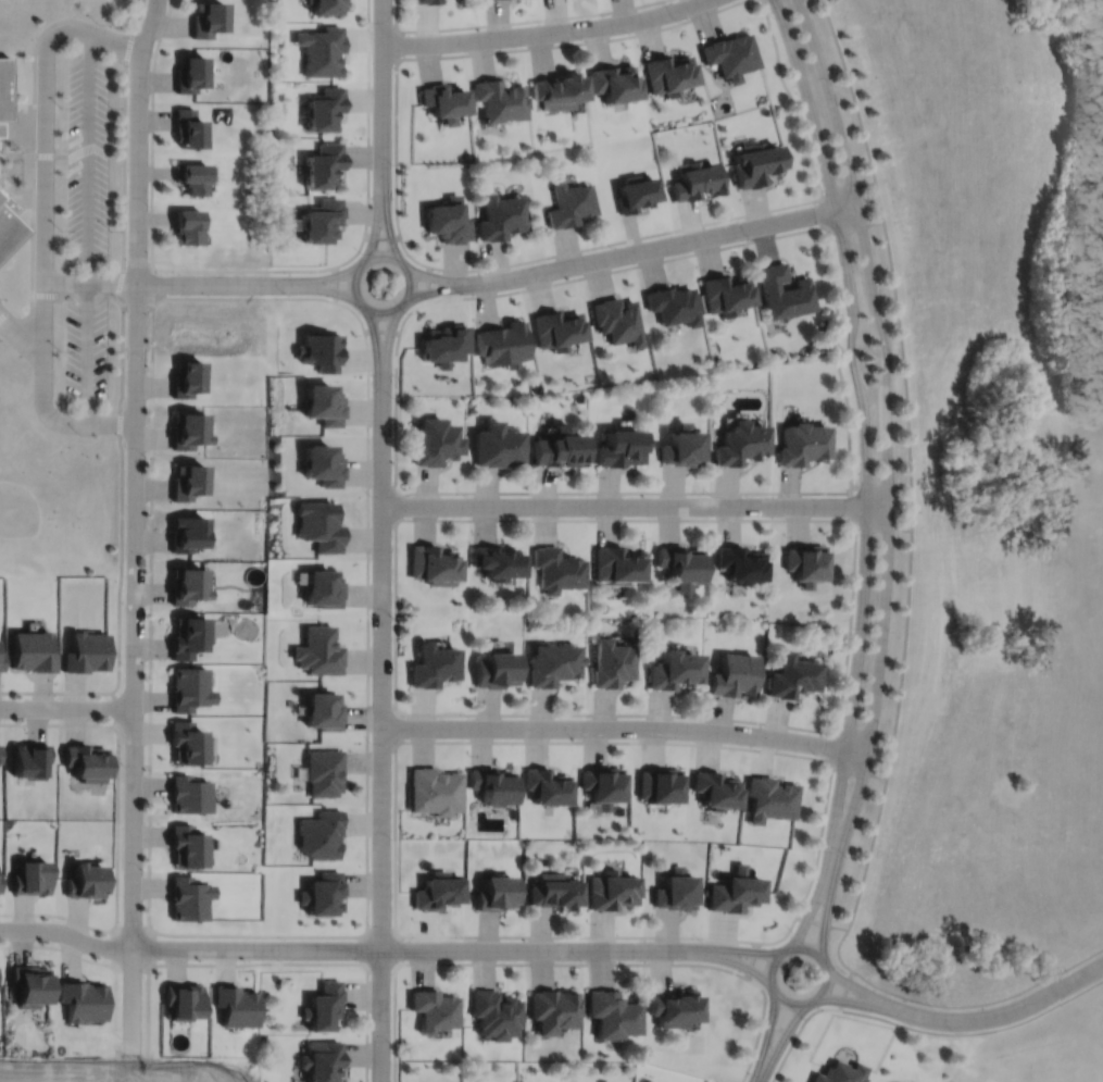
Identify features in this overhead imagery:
building: (497, 0)
building: (427, 1)
building: (327, 4)
road: (622, 9)
street lamp: (774, 16)
building: (208, 17)
road: (137, 18)
street lamp: (372, 21)
street lamp: (679, 21)
street lamp: (98, 23)
road: (474, 26)
street lamp: (480, 28)
road: (547, 33)
road: (41, 34)
road: (369, 36)
street lamp: (582, 39)
road: (397, 42)
road: (117, 45)
building: (322, 48)
road: (467, 53)
building: (730, 53)
building: (190, 72)
building: (669, 72)
building: (616, 80)
road: (383, 83)
street lamp: (835, 85)
building: (4, 87)
building: (560, 88)
street lamp: (799, 95)
building: (443, 98)
building: (500, 98)
road: (793, 99)
street lamp: (150, 101)
street lamp: (62, 105)
street lamp: (111, 107)
building: (325, 107)
building: (1, 126)
building: (187, 127)
road: (17, 129)
road: (45, 135)
road: (33, 142)
road: (60, 154)
road: (16, 156)
road: (87, 159)
parking lot: (87, 161)
building: (756, 162)
building: (324, 163)
street lamp: (392, 164)
street lamp: (855, 165)
road: (124, 166)
building: (191, 175)
road: (33, 176)
building: (695, 179)
road: (848, 187)
building: (636, 191)
road: (13, 195)
building: (572, 203)
street lamp: (148, 206)
road: (377, 213)
road: (387, 214)
road: (820, 214)
building: (501, 215)
building: (323, 217)
building: (449, 219)
building: (8, 222)
road: (151, 224)
building: (187, 225)
road: (856, 227)
street lamp: (60, 229)
street lamp: (111, 231)
road: (829, 232)
street lamp: (752, 239)
street lamp: (835, 240)
road: (678, 244)
road: (602, 245)
road: (33, 246)
street lamp: (611, 246)
street lamp: (362, 252)
street lamp: (404, 253)
road: (402, 264)
street lamp: (176, 273)
road: (315, 277)
road: (450, 278)
road: (90, 282)
road: (204, 283)
road: (429, 284)
road: (336, 285)
road: (315, 288)
road: (453, 289)
building: (784, 291)
road: (77, 294)
street lamp: (464, 294)
building: (727, 294)
street lamp: (285, 295)
building: (673, 304)
road: (3, 308)
street lamp: (406, 311)
road: (43, 312)
street lamp: (361, 314)
road: (3, 315)
road: (27, 315)
building: (618, 321)
building: (560, 328)
road: (381, 329)
road: (18, 335)
building: (447, 344)
building: (504, 344)
road: (376, 347)
road: (387, 347)
street lamp: (59, 349)
street lamp: (110, 350)
road: (87, 351)
parking lot: (86, 352)
street lamp: (893, 353)
street lamp: (847, 358)
street lamp: (148, 360)
road: (839, 364)
building: (187, 377)
street lamp: (392, 397)
road: (43, 398)
building: (324, 403)
road: (396, 415)
road: (111, 422)
building: (188, 430)
street lamp: (79, 433)
building: (437, 441)
building: (741, 444)
building: (803, 444)
building: (499, 445)
building: (681, 447)
building: (559, 448)
building: (619, 448)
street lamp: (147, 457)
building: (324, 464)
street lamp: (895, 468)
road: (866, 473)
road: (888, 475)
building: (187, 481)
road: (880, 487)
road: (911, 487)
park: (982, 493)
street lamp: (372, 495)
street lamp: (466, 495)
street lamp: (712, 496)
park: (41, 505)
road: (396, 506)
road: (635, 506)
road: (850, 506)
street lamp: (589, 517)
road: (396, 519)
road: (135, 525)
building: (321, 525)
road: (883, 526)
building: (188, 533)
street lamp: (858, 534)
road: (121, 550)
street lamp: (147, 560)
building: (499, 562)
building: (740, 564)
building: (807, 564)
building: (434, 565)
building: (616, 567)
building: (680, 567)
building: (557, 570)
building: (187, 586)
building: (324, 589)
street lamp: (392, 618)
road: (851, 625)
street lamp: (854, 629)
street lamp: (890, 632)
building: (188, 637)
building: (33, 651)
building: (319, 651)
building: (85, 654)
building: (1, 661)
street lamp: (146, 663)
building: (612, 664)
building: (552, 666)
building: (435, 667)
building: (496, 670)
building: (673, 671)
building: (734, 677)
building: (792, 677)
building: (189, 689)
street lamp: (57, 696)
road: (66, 707)
road: (113, 708)
building: (323, 712)
street lamp: (468, 718)
street lamp: (699, 721)
road: (745, 721)
street lamp: (880, 723)
road: (394, 727)
road: (624, 727)
road: (865, 732)
road: (381, 735)
street lamp: (574, 738)
road: (543, 742)
building: (0, 744)
building: (187, 744)
street lamp: (371, 744)
road: (836, 747)
building: (0, 753)
street lamp: (818, 756)
building: (30, 760)
building: (86, 762)
street lamp: (123, 766)
road: (858, 772)
building: (324, 773)
building: (491, 787)
building: (602, 787)
building: (659, 787)
building: (546, 788)
building: (716, 792)
building: (435, 793)
building: (188, 796)
building: (770, 800)
road: (117, 829)
building: (321, 835)
street lamp: (391, 840)
building: (187, 848)
street lamp: (823, 851)
street lamp: (847, 856)
road: (815, 866)
street lamp: (143, 869)
building: (33, 875)
building: (87, 879)
building: (0, 881)
building: (612, 887)
building: (435, 888)
building: (553, 888)
building: (675, 888)
building: (735, 888)
building: (321, 891)
building: (493, 891)
building: (187, 896)
street lamp: (54, 920)
road: (822, 922)
street lamp: (371, 923)
road: (133, 926)
street lamp: (793, 931)
road: (238, 934)
road: (551, 936)
street lamp: (464, 938)
street lamp: (701, 940)
road: (152, 947)
road: (113, 948)
road: (344, 948)
road: (737, 949)
road: (812, 950)
street lamp: (160, 958)
road: (752, 959)
street lamp: (281, 960)
street lamp: (582, 960)
road: (93, 961)
road: (734, 961)
road: (274, 962)
road: (394, 962)
road: (513, 963)
road: (133, 968)
street lamp: (843, 970)
street lamp: (1065, 971)
building: (32, 984)
road: (844, 988)
road: (862, 990)
building: (181, 998)
building: (84, 999)
building: (235, 1003)
building: (323, 1003)
road: (856, 1003)
road: (980, 1004)
building: (674, 1006)
building: (431, 1007)
building: (552, 1008)
building: (611, 1011)
road: (1006, 1011)
building: (492, 1012)
street lamp: (803, 1018)
road: (760, 1027)
road: (778, 1028)
street lamp: (954, 1031)
road: (975, 1032)
road: (797, 1033)
road: (766, 1036)
street lamp: (122, 1039)
street lamp: (391, 1042)
road: (780, 1042)
building: (322, 1059)
building: (841, 1072)
building: (604, 1081)

